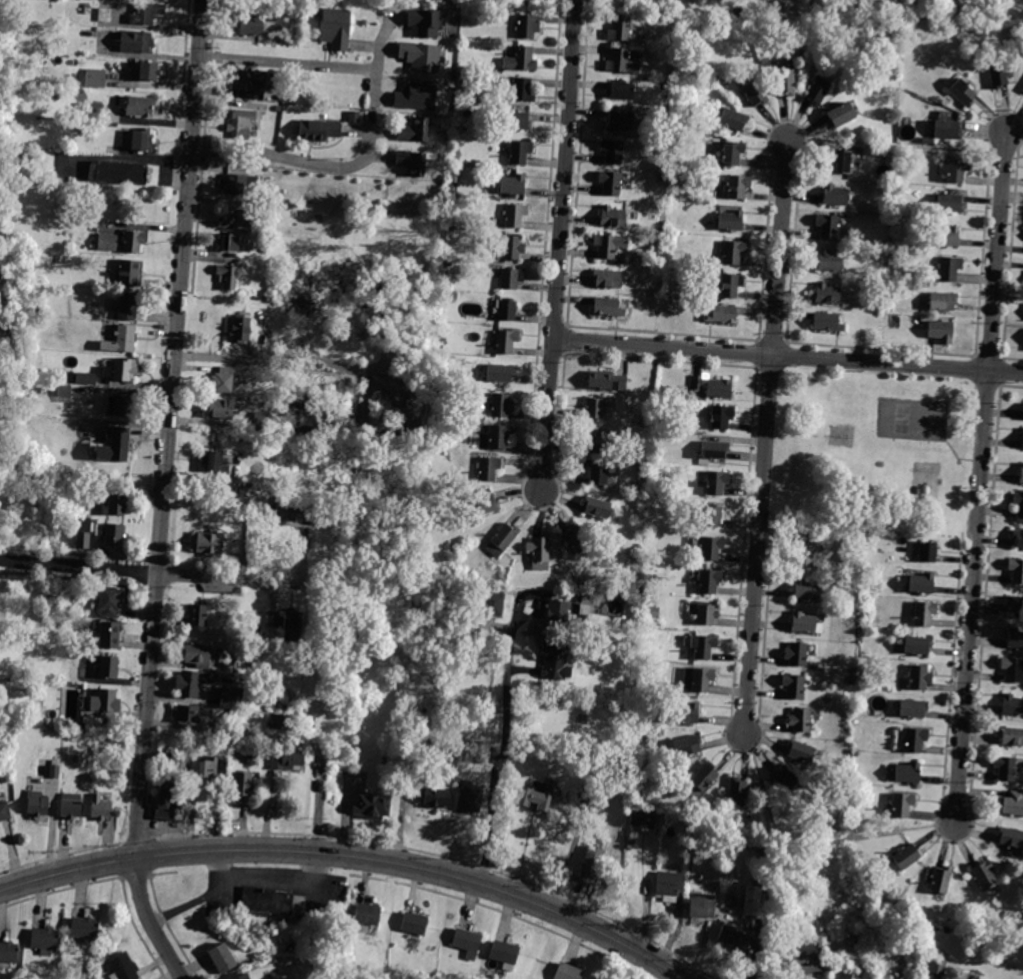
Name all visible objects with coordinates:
building: (775, 7)
building: (88, 11)
building: (147, 13)
building: (284, 13)
building: (105, 15)
building: (427, 21)
building: (5, 22)
building: (251, 25)
building: (527, 26)
building: (911, 26)
building: (338, 28)
building: (620, 29)
building: (136, 42)
building: (422, 55)
road: (378, 57)
building: (519, 58)
road: (287, 62)
building: (622, 62)
building: (147, 71)
building: (1000, 74)
building: (96, 78)
building: (249, 80)
building: (786, 83)
building: (1022, 88)
building: (523, 89)
building: (621, 90)
building: (817, 91)
building: (964, 92)
building: (754, 93)
building: (416, 94)
building: (282, 97)
building: (140, 106)
building: (279, 109)
building: (93, 111)
building: (840, 115)
building: (733, 119)
building: (517, 120)
building: (620, 120)
building: (241, 124)
building: (317, 130)
building: (413, 130)
building: (947, 130)
building: (137, 140)
road: (906, 145)
building: (612, 151)
building: (520, 152)
building: (733, 153)
building: (457, 155)
road: (298, 162)
building: (410, 162)
building: (840, 162)
building: (955, 170)
building: (121, 172)
building: (611, 183)
building: (513, 184)
building: (236, 185)
building: (738, 186)
building: (837, 196)
building: (950, 203)
building: (441, 206)
building: (516, 215)
building: (613, 217)
building: (234, 219)
building: (730, 220)
building: (451, 223)
building: (828, 226)
building: (661, 231)
building: (947, 237)
building: (133, 241)
building: (266, 241)
building: (107, 242)
building: (228, 242)
road: (559, 244)
building: (609, 245)
building: (513, 247)
building: (733, 253)
building: (892, 255)
building: (56, 259)
building: (830, 261)
building: (449, 262)
building: (669, 269)
building: (949, 269)
building: (130, 273)
building: (227, 276)
building: (511, 278)
building: (608, 279)
building: (731, 285)
building: (830, 295)
building: (453, 296)
building: (942, 301)
building: (127, 306)
building: (33, 307)
building: (608, 308)
building: (508, 310)
building: (723, 315)
building: (827, 322)
building: (240, 329)
building: (940, 331)
building: (121, 340)
building: (506, 342)
building: (82, 356)
road: (788, 356)
building: (122, 370)
building: (500, 373)
building: (61, 376)
building: (86, 378)
building: (222, 380)
building: (606, 381)
building: (713, 387)
building: (440, 390)
building: (64, 391)
building: (281, 392)
building: (502, 406)
building: (122, 407)
building: (221, 408)
building: (596, 408)
building: (721, 417)
park: (902, 418)
building: (262, 421)
road: (766, 435)
building: (499, 436)
building: (658, 438)
building: (1022, 439)
building: (594, 440)
building: (116, 446)
park: (874, 446)
building: (713, 452)
building: (215, 463)
building: (489, 469)
building: (597, 474)
building: (1022, 474)
road: (980, 478)
building: (716, 482)
building: (243, 488)
road: (164, 494)
building: (117, 504)
building: (1018, 504)
building: (597, 508)
building: (481, 509)
building: (286, 511)
building: (709, 516)
building: (83, 533)
building: (114, 535)
building: (577, 538)
building: (1019, 539)
building: (503, 540)
building: (206, 543)
building: (447, 546)
building: (711, 548)
building: (805, 550)
building: (928, 552)
building: (540, 553)
building: (1017, 570)
road: (163, 573)
building: (709, 581)
building: (922, 583)
building: (644, 586)
building: (806, 590)
building: (299, 599)
building: (110, 600)
building: (588, 603)
building: (1016, 603)
building: (493, 604)
building: (559, 609)
building: (653, 611)
building: (924, 613)
building: (705, 614)
building: (198, 615)
building: (272, 619)
building: (291, 619)
building: (804, 622)
building: (110, 635)
building: (1016, 638)
building: (704, 645)
building: (918, 645)
building: (196, 653)
building: (796, 653)
building: (557, 661)
building: (109, 667)
building: (1013, 669)
building: (853, 671)
building: (919, 677)
building: (702, 679)
building: (193, 683)
building: (44, 686)
building: (794, 686)
building: (230, 700)
building: (103, 701)
building: (1012, 705)
building: (913, 708)
building: (687, 713)
building: (186, 715)
building: (205, 716)
building: (801, 720)
building: (280, 722)
building: (222, 731)
building: (240, 735)
building: (1011, 735)
building: (914, 740)
building: (101, 743)
building: (684, 747)
road: (505, 748)
building: (233, 750)
building: (799, 752)
building: (480, 758)
building: (166, 760)
building: (252, 760)
building: (285, 765)
building: (212, 768)
building: (1005, 768)
building: (54, 770)
building: (906, 772)
building: (705, 776)
building: (784, 776)
building: (242, 785)
road: (320, 788)
building: (738, 791)
building: (540, 796)
building: (439, 799)
building: (470, 799)
building: (839, 801)
building: (166, 802)
building: (1012, 803)
building: (37, 805)
building: (373, 806)
building: (901, 806)
building: (70, 807)
building: (100, 808)
building: (4, 811)
building: (644, 821)
road: (864, 834)
road: (136, 838)
building: (1011, 838)
road: (61, 853)
road: (773, 854)
road: (351, 855)
building: (906, 857)
building: (592, 862)
road: (133, 874)
building: (984, 874)
road: (277, 876)
building: (940, 880)
building: (759, 881)
building: (670, 886)
road: (60, 889)
road: (200, 897)
building: (752, 900)
building: (265, 902)
building: (298, 903)
building: (702, 905)
building: (368, 915)
building: (414, 924)
building: (85, 928)
building: (734, 938)
building: (45, 940)
building: (468, 943)
building: (806, 949)
building: (9, 952)
building: (505, 955)
building: (222, 958)
building: (933, 965)
building: (123, 968)
building: (568, 972)
building: (244, 976)
building: (842, 978)

